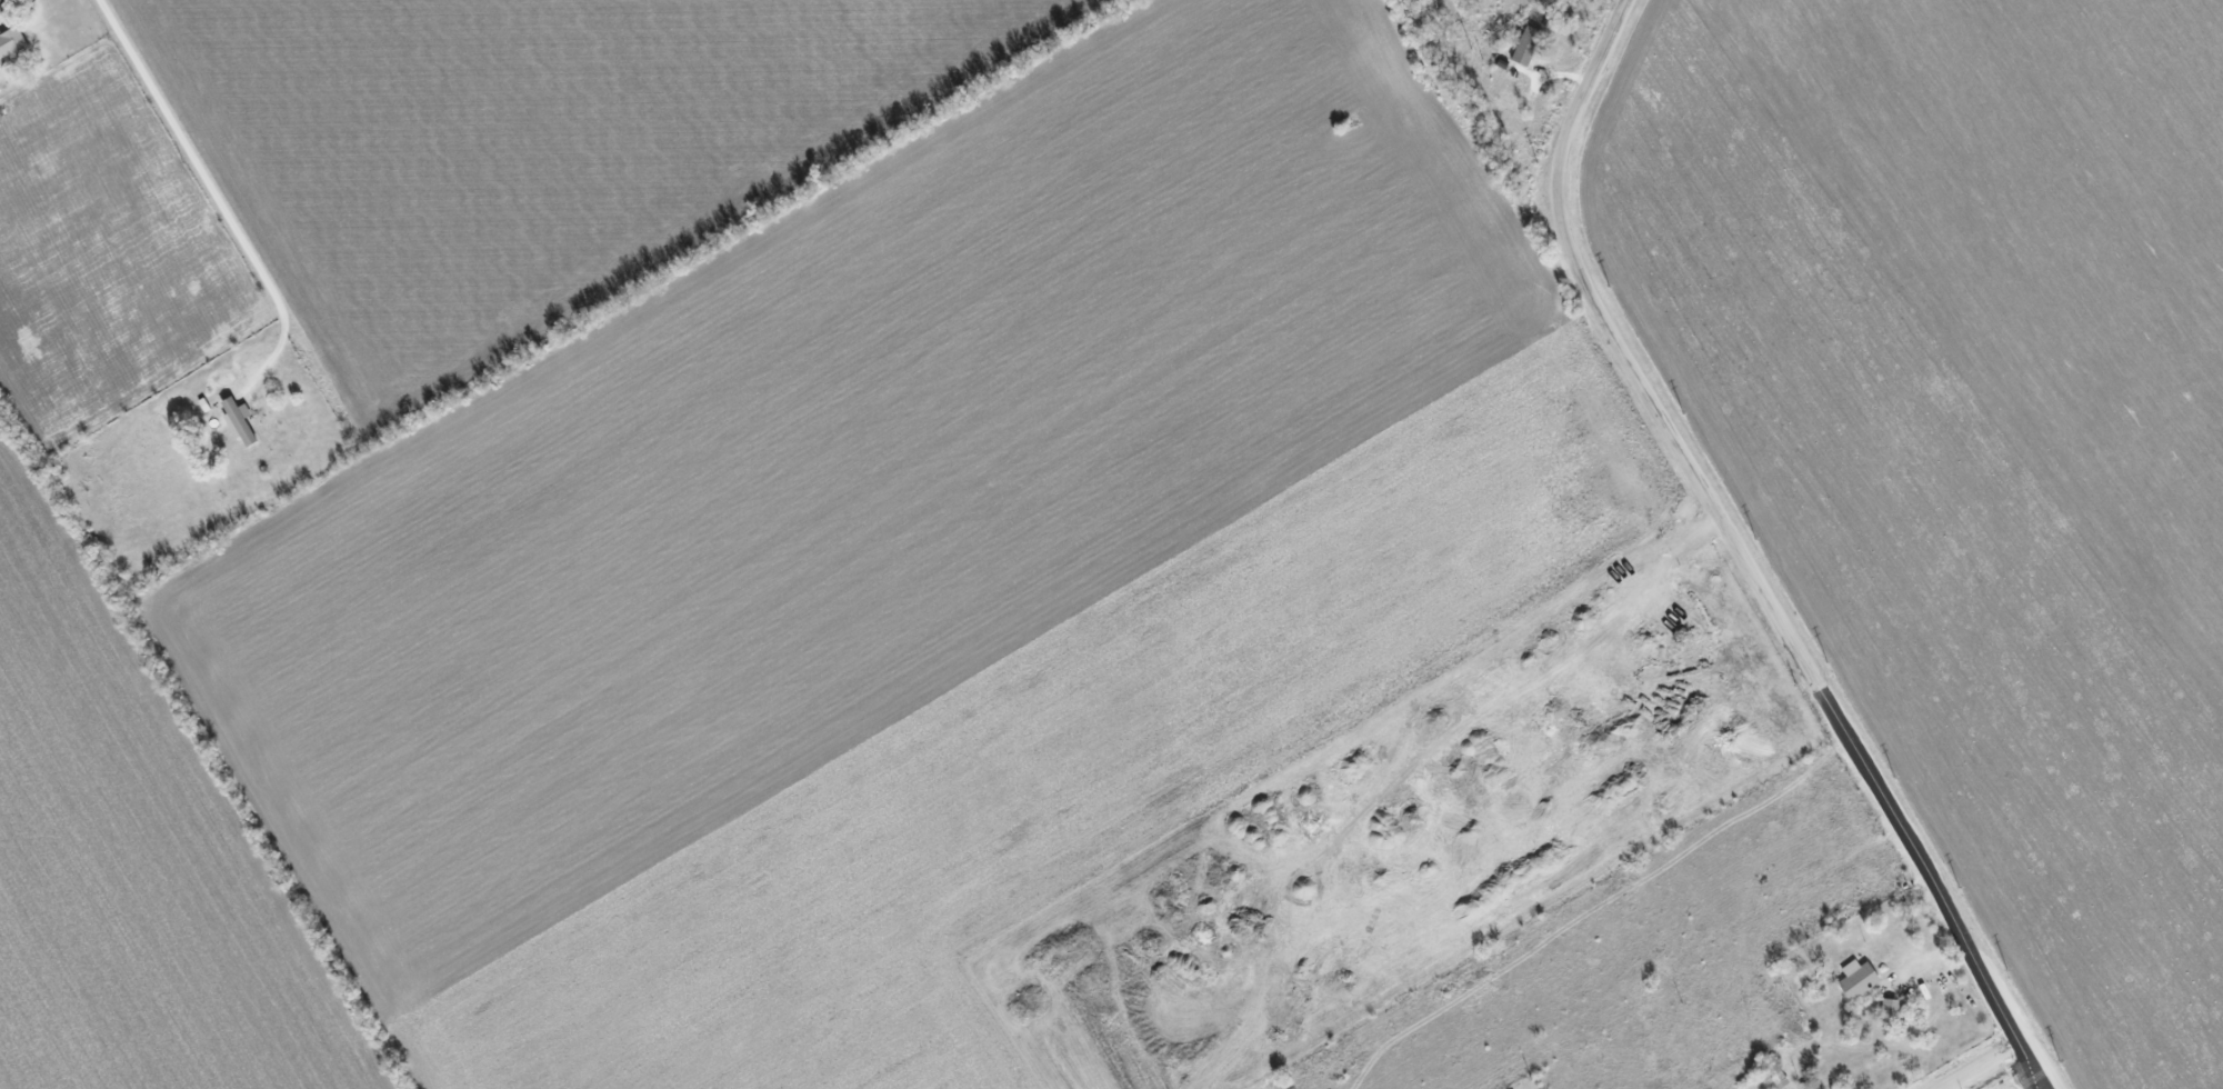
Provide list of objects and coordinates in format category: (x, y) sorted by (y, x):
building: (3, 8)
building: (14, 46)
building: (1524, 46)
road: (212, 189)
building: (242, 422)
road: (1743, 557)
road: (1931, 955)
building: (1855, 979)
building: (1889, 1010)
road: (1989, 1063)

